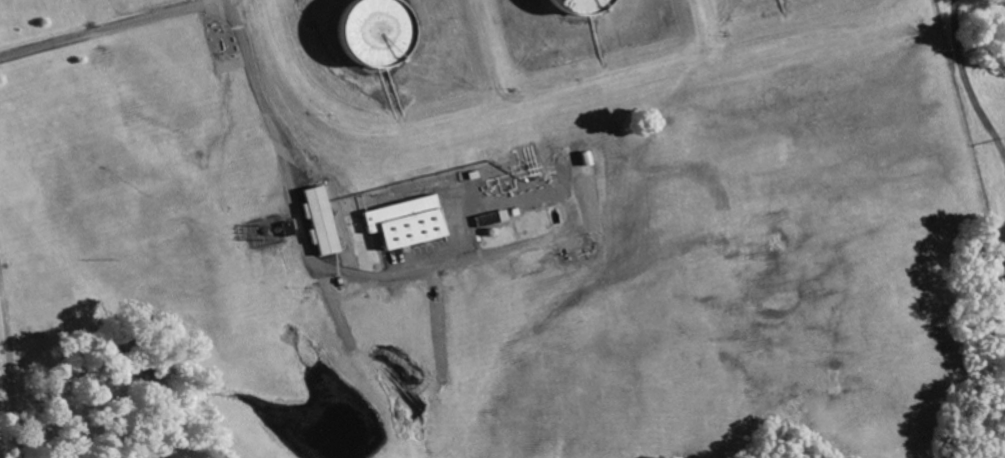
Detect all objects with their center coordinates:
building: (586, 7)
building: (379, 33)
road: (293, 184)
building: (493, 217)
building: (322, 219)
building: (409, 219)
building: (286, 227)
road: (13, 366)

